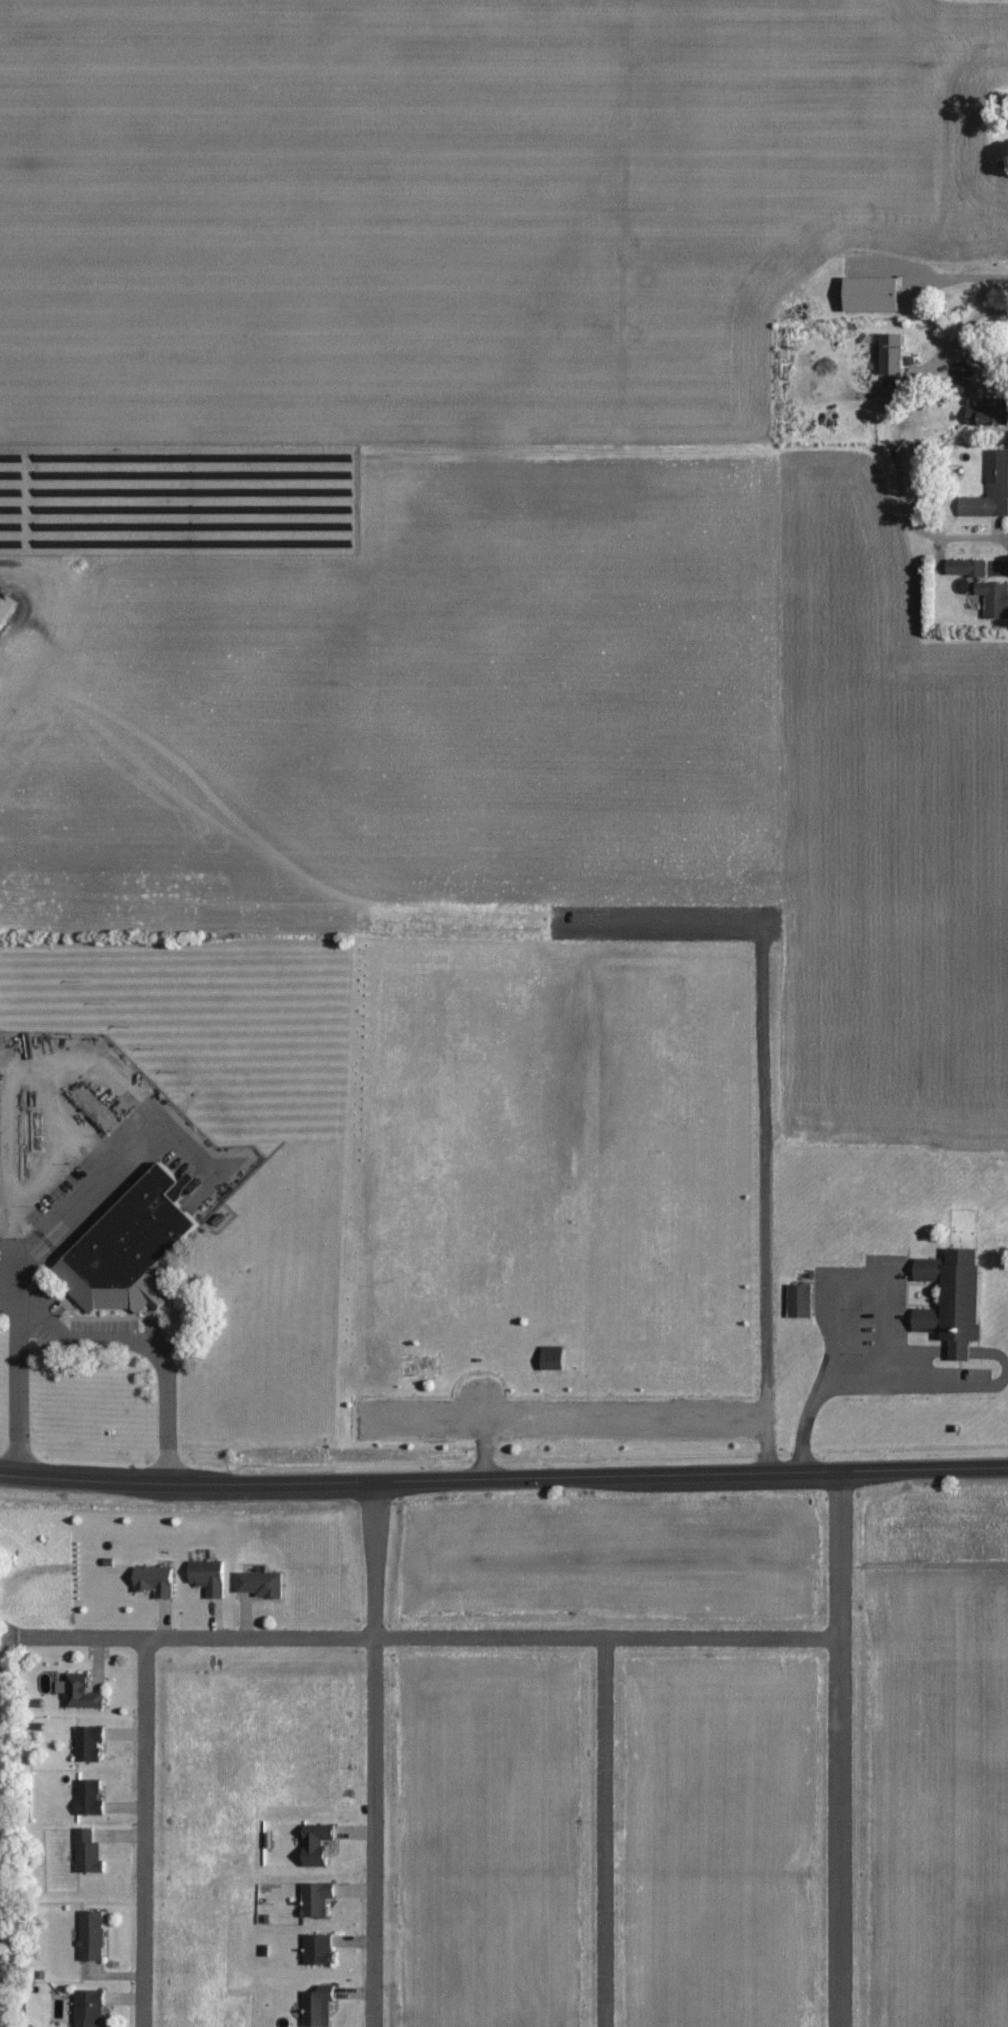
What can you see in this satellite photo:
building: (874, 296)
building: (893, 355)
road: (942, 362)
building: (989, 414)
building: (990, 490)
road: (972, 534)
building: (967, 567)
building: (994, 599)
park: (673, 1034)
park: (458, 1053)
park: (662, 1179)
building: (131, 1248)
road: (13, 1265)
road: (838, 1281)
building: (954, 1299)
building: (800, 1301)
park: (701, 1312)
park: (418, 1313)
park: (626, 1323)
road: (156, 1342)
building: (553, 1358)
road: (621, 1411)
road: (503, 1477)
building: (209, 1578)
building: (155, 1581)
building: (261, 1585)
road: (430, 1638)
building: (81, 1693)
building: (90, 1744)
road: (839, 1748)
road: (371, 1753)
building: (90, 1797)
road: (142, 1832)
road: (603, 1832)
building: (318, 1843)
building: (89, 1852)
building: (93, 1934)
building: (319, 1949)
building: (319, 2005)
building: (90, 2008)

